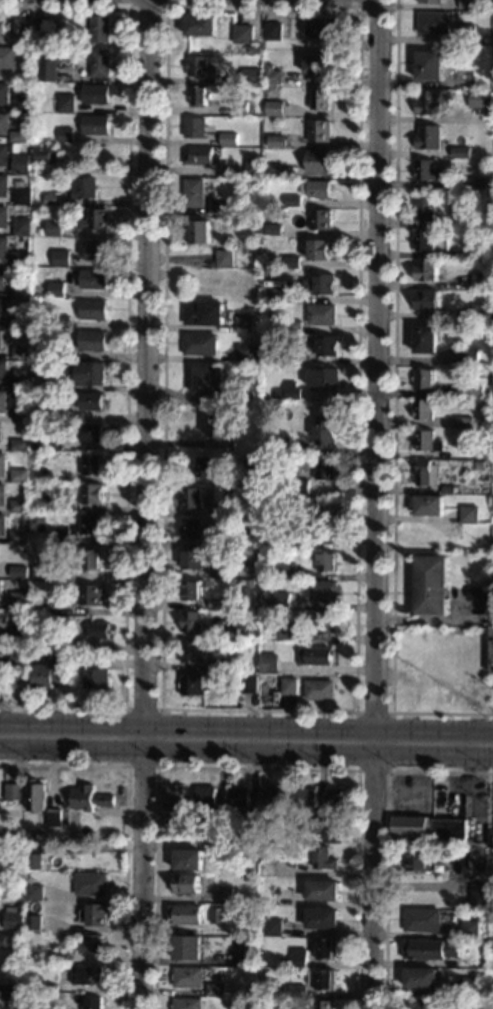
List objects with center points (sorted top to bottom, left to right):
building: (430, 1)
building: (467, 4)
road: (147, 9)
road: (372, 13)
building: (433, 22)
building: (201, 25)
building: (22, 27)
building: (42, 27)
building: (323, 28)
building: (100, 29)
building: (273, 31)
building: (1, 32)
building: (242, 34)
building: (465, 34)
building: (258, 38)
building: (254, 49)
building: (8, 58)
building: (100, 63)
building: (320, 63)
building: (429, 65)
building: (47, 67)
building: (199, 67)
building: (492, 72)
building: (272, 75)
building: (251, 76)
building: (4, 93)
building: (96, 94)
building: (199, 96)
building: (319, 99)
building: (480, 99)
building: (66, 103)
building: (427, 103)
building: (22, 104)
building: (239, 107)
building: (274, 108)
building: (459, 118)
building: (4, 124)
building: (96, 125)
building: (194, 128)
building: (319, 131)
building: (66, 135)
building: (17, 136)
building: (427, 137)
building: (226, 139)
building: (276, 141)
building: (460, 152)
building: (4, 155)
building: (48, 155)
building: (200, 156)
building: (317, 162)
building: (21, 164)
building: (252, 168)
building: (36, 169)
building: (273, 170)
building: (70, 171)
building: (427, 171)
building: (476, 185)
building: (4, 186)
building: (84, 188)
building: (316, 189)
building: (194, 193)
building: (22, 197)
building: (53, 200)
building: (291, 201)
building: (216, 206)
building: (423, 208)
building: (4, 217)
building: (95, 220)
building: (319, 220)
building: (453, 222)
building: (22, 227)
building: (54, 228)
building: (273, 229)
building: (198, 231)
building: (40, 232)
building: (423, 240)
building: (3, 248)
building: (98, 250)
building: (318, 250)
building: (480, 252)
building: (61, 258)
building: (21, 259)
building: (224, 259)
building: (291, 262)
building: (425, 270)
building: (2, 279)
building: (94, 279)
building: (480, 281)
building: (319, 285)
building: (56, 289)
building: (19, 290)
building: (281, 295)
building: (425, 301)
building: (1, 308)
building: (93, 310)
building: (480, 312)
building: (202, 313)
building: (321, 314)
building: (17, 321)
building: (62, 322)
building: (243, 324)
building: (293, 326)
building: (1, 339)
building: (425, 339)
building: (92, 341)
building: (199, 344)
building: (326, 346)
building: (247, 352)
building: (21, 353)
building: (39, 353)
road: (126, 356)
building: (289, 357)
building: (470, 357)
building: (3, 370)
building: (89, 374)
building: (324, 378)
building: (424, 378)
building: (209, 380)
building: (20, 382)
building: (52, 382)
building: (492, 388)
building: (475, 389)
building: (287, 392)
building: (3, 401)
building: (91, 401)
road: (393, 406)
building: (41, 409)
building: (422, 410)
building: (21, 412)
building: (228, 421)
building: (463, 422)
building: (216, 425)
building: (325, 429)
building: (1, 432)
building: (91, 432)
building: (39, 441)
building: (426, 441)
building: (282, 442)
building: (20, 445)
building: (492, 451)
building: (45, 458)
building: (3, 464)
building: (92, 465)
building: (252, 465)
building: (479, 465)
building: (205, 467)
building: (325, 469)
building: (426, 473)
building: (20, 475)
building: (297, 486)
building: (485, 488)
building: (447, 489)
building: (227, 490)
building: (3, 494)
building: (92, 494)
building: (192, 497)
building: (42, 503)
road: (146, 504)
road: (375, 504)
building: (492, 504)
building: (428, 505)
building: (19, 506)
building: (219, 510)
building: (468, 514)
building: (328, 516)
building: (3, 525)
building: (91, 525)
building: (191, 528)
building: (19, 537)
building: (61, 537)
building: (307, 537)
building: (218, 538)
building: (192, 559)
building: (91, 560)
building: (326, 561)
building: (285, 571)
building: (18, 572)
building: (41, 572)
building: (219, 572)
building: (492, 582)
building: (250, 583)
building: (430, 585)
building: (0, 589)
building: (191, 590)
building: (323, 591)
building: (474, 593)
building: (91, 595)
building: (19, 600)
building: (281, 600)
building: (40, 607)
building: (492, 617)
building: (191, 621)
building: (327, 624)
building: (20, 630)
building: (89, 630)
building: (238, 631)
building: (283, 631)
building: (38, 640)
building: (491, 650)
building: (33, 653)
building: (191, 653)
building: (316, 656)
building: (18, 660)
building: (269, 663)
building: (218, 666)
building: (96, 674)
building: (45, 676)
building: (5, 678)
building: (278, 681)
building: (248, 684)
building: (192, 685)
building: (289, 686)
building: (319, 690)
road: (355, 712)
road: (246, 728)
road: (246, 749)
road: (157, 762)
road: (254, 768)
road: (389, 768)
building: (14, 792)
building: (37, 796)
building: (239, 797)
building: (303, 797)
building: (90, 798)
building: (205, 798)
building: (269, 798)
building: (336, 799)
building: (175, 803)
building: (54, 817)
building: (216, 822)
road: (125, 823)
building: (317, 824)
building: (248, 828)
building: (428, 828)
building: (281, 834)
building: (332, 835)
road: (388, 837)
building: (491, 837)
building: (51, 844)
building: (35, 858)
building: (324, 858)
building: (477, 859)
building: (189, 860)
building: (417, 860)
building: (267, 868)
building: (92, 884)
building: (186, 884)
building: (323, 890)
building: (277, 892)
building: (35, 893)
building: (226, 895)
building: (476, 896)
building: (97, 915)
building: (186, 915)
building: (218, 915)
building: (322, 918)
building: (423, 920)
building: (14, 921)
building: (34, 923)
building: (274, 927)
building: (469, 929)
building: (6, 940)
building: (92, 945)
building: (188, 948)
building: (326, 950)
building: (430, 950)
building: (246, 955)
building: (61, 956)
building: (298, 957)
building: (482, 966)
building: (88, 974)
building: (492, 977)
building: (188, 978)
building: (422, 978)
building: (323, 980)
building: (470, 986)
building: (54, 988)
building: (215, 990)
building: (296, 991)
building: (6, 992)
building: (93, 1003)
building: (187, 1003)
building: (425, 1003)
building: (325, 1004)

